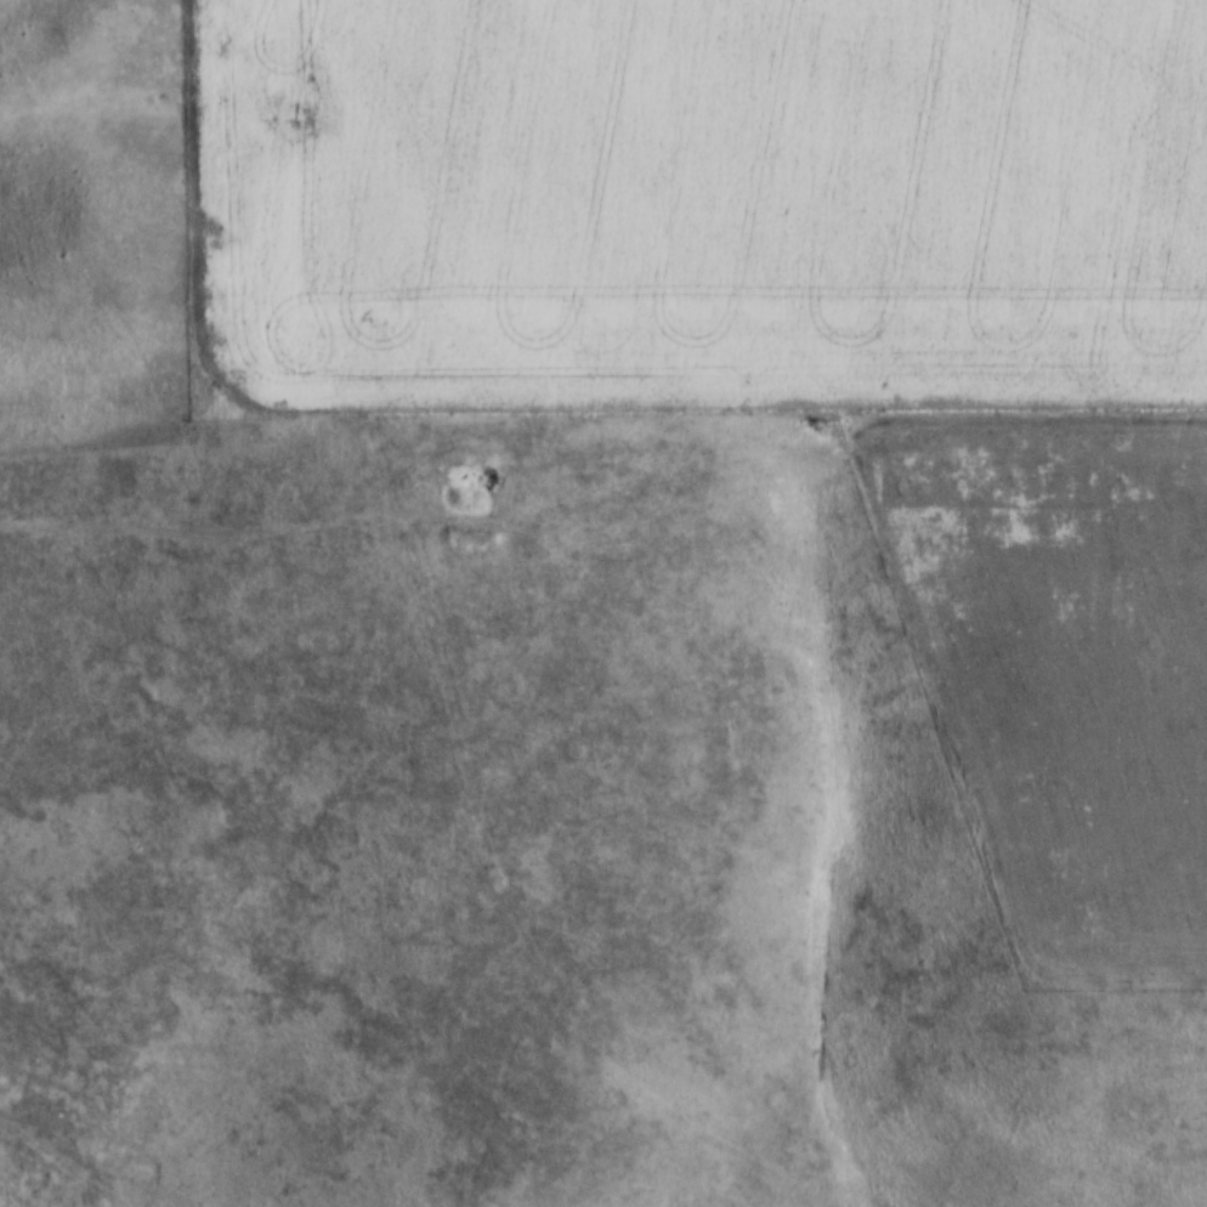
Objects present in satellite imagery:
building: (1150, 641)

